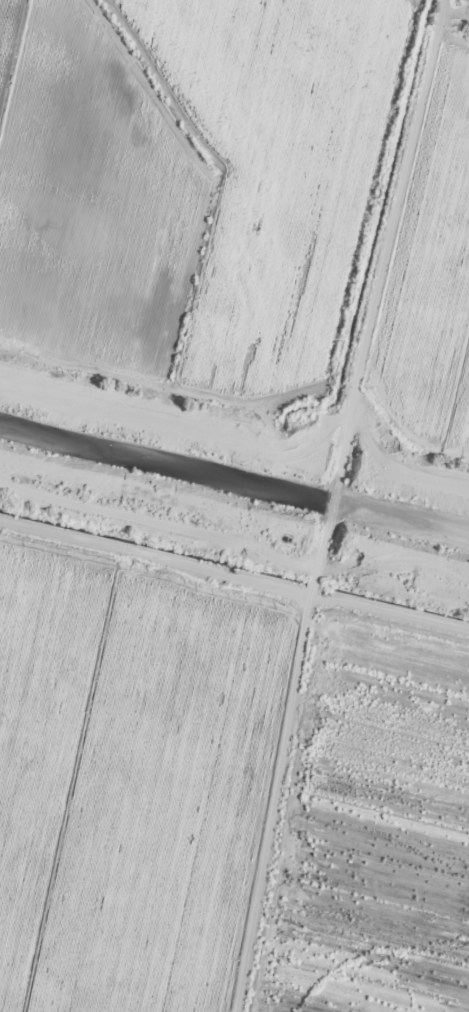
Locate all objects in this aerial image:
crop: (188, 190)

